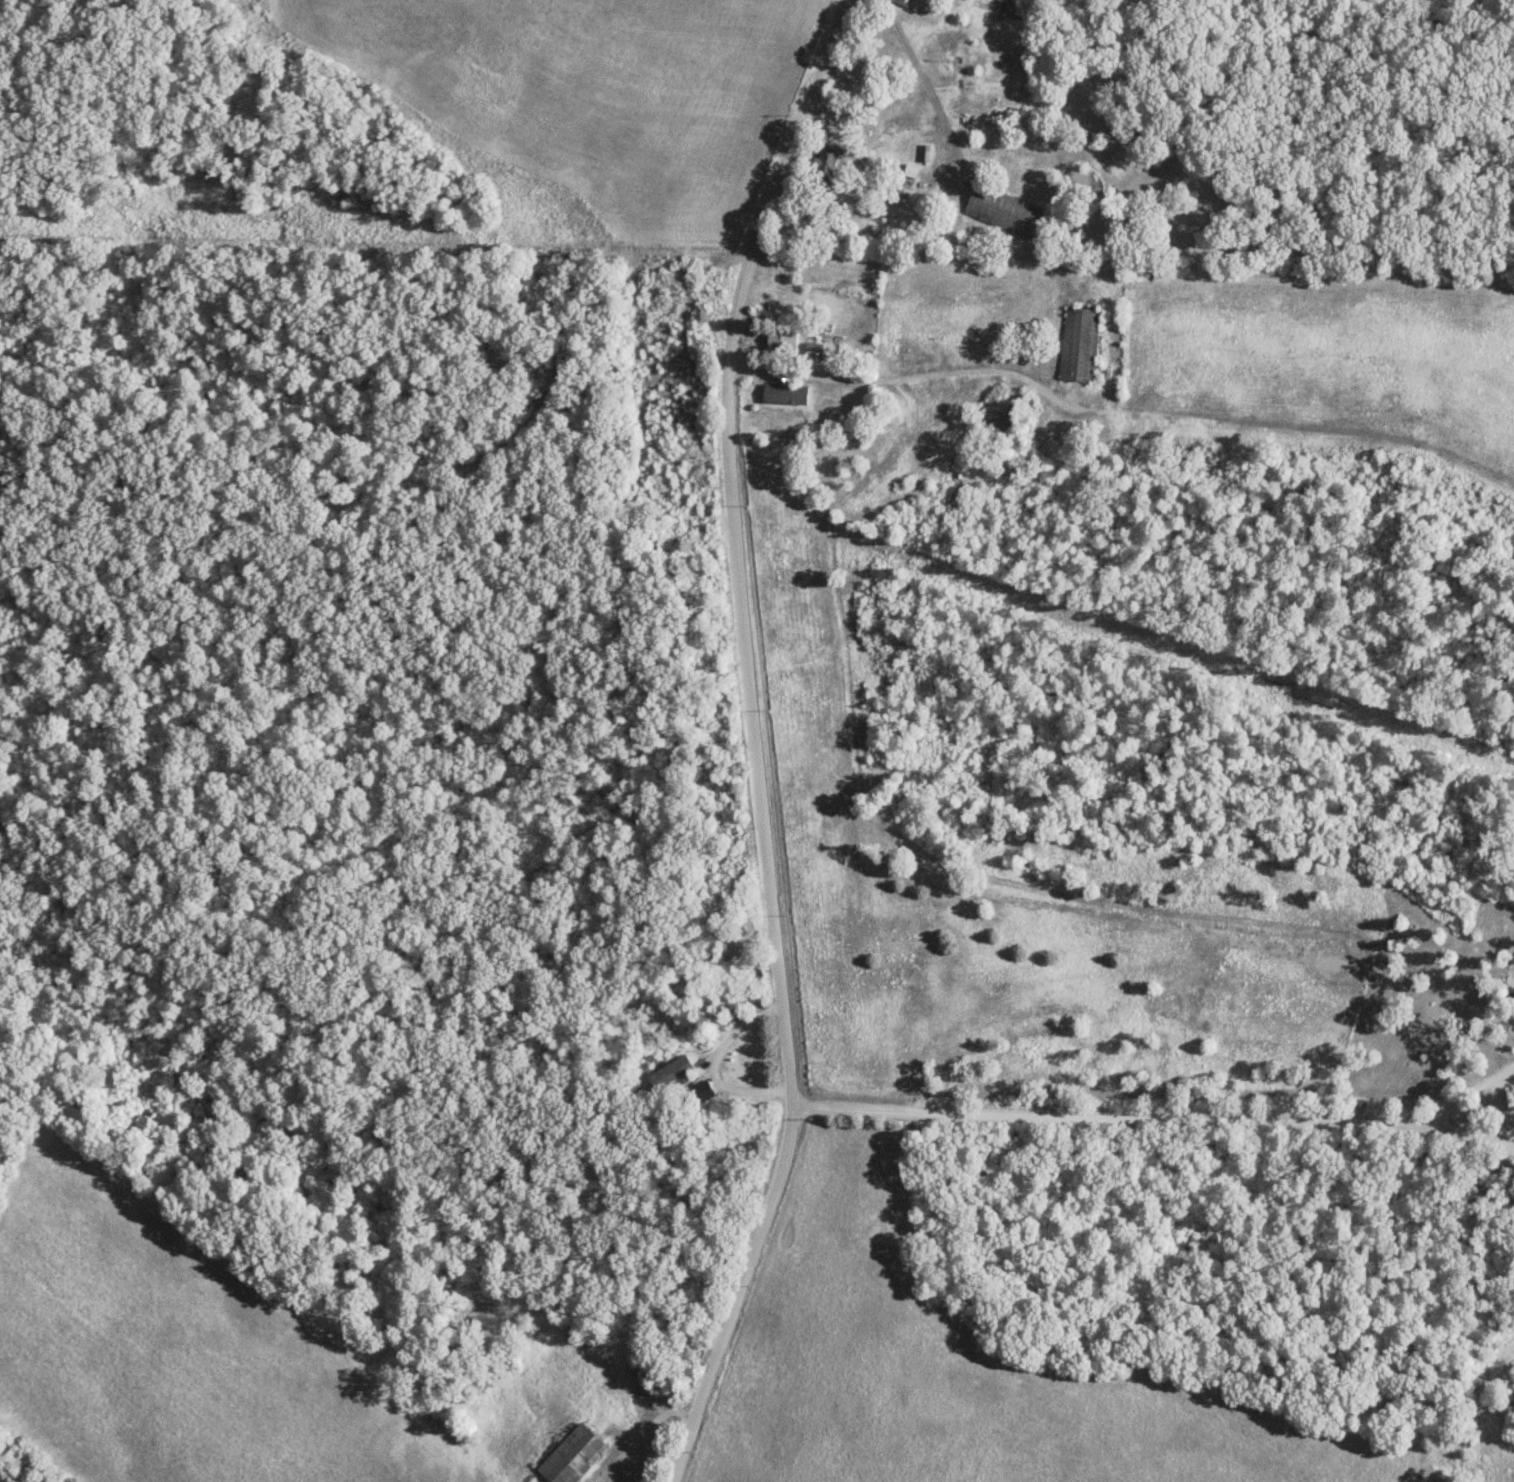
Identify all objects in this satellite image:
building: (898, 2)
road: (927, 87)
building: (825, 161)
building: (909, 171)
building: (999, 209)
building: (781, 339)
building: (1077, 343)
road: (896, 377)
road: (397, 471)
road: (749, 741)
building: (1513, 1000)
building: (669, 1072)
road: (1152, 1117)
building: (571, 1455)

